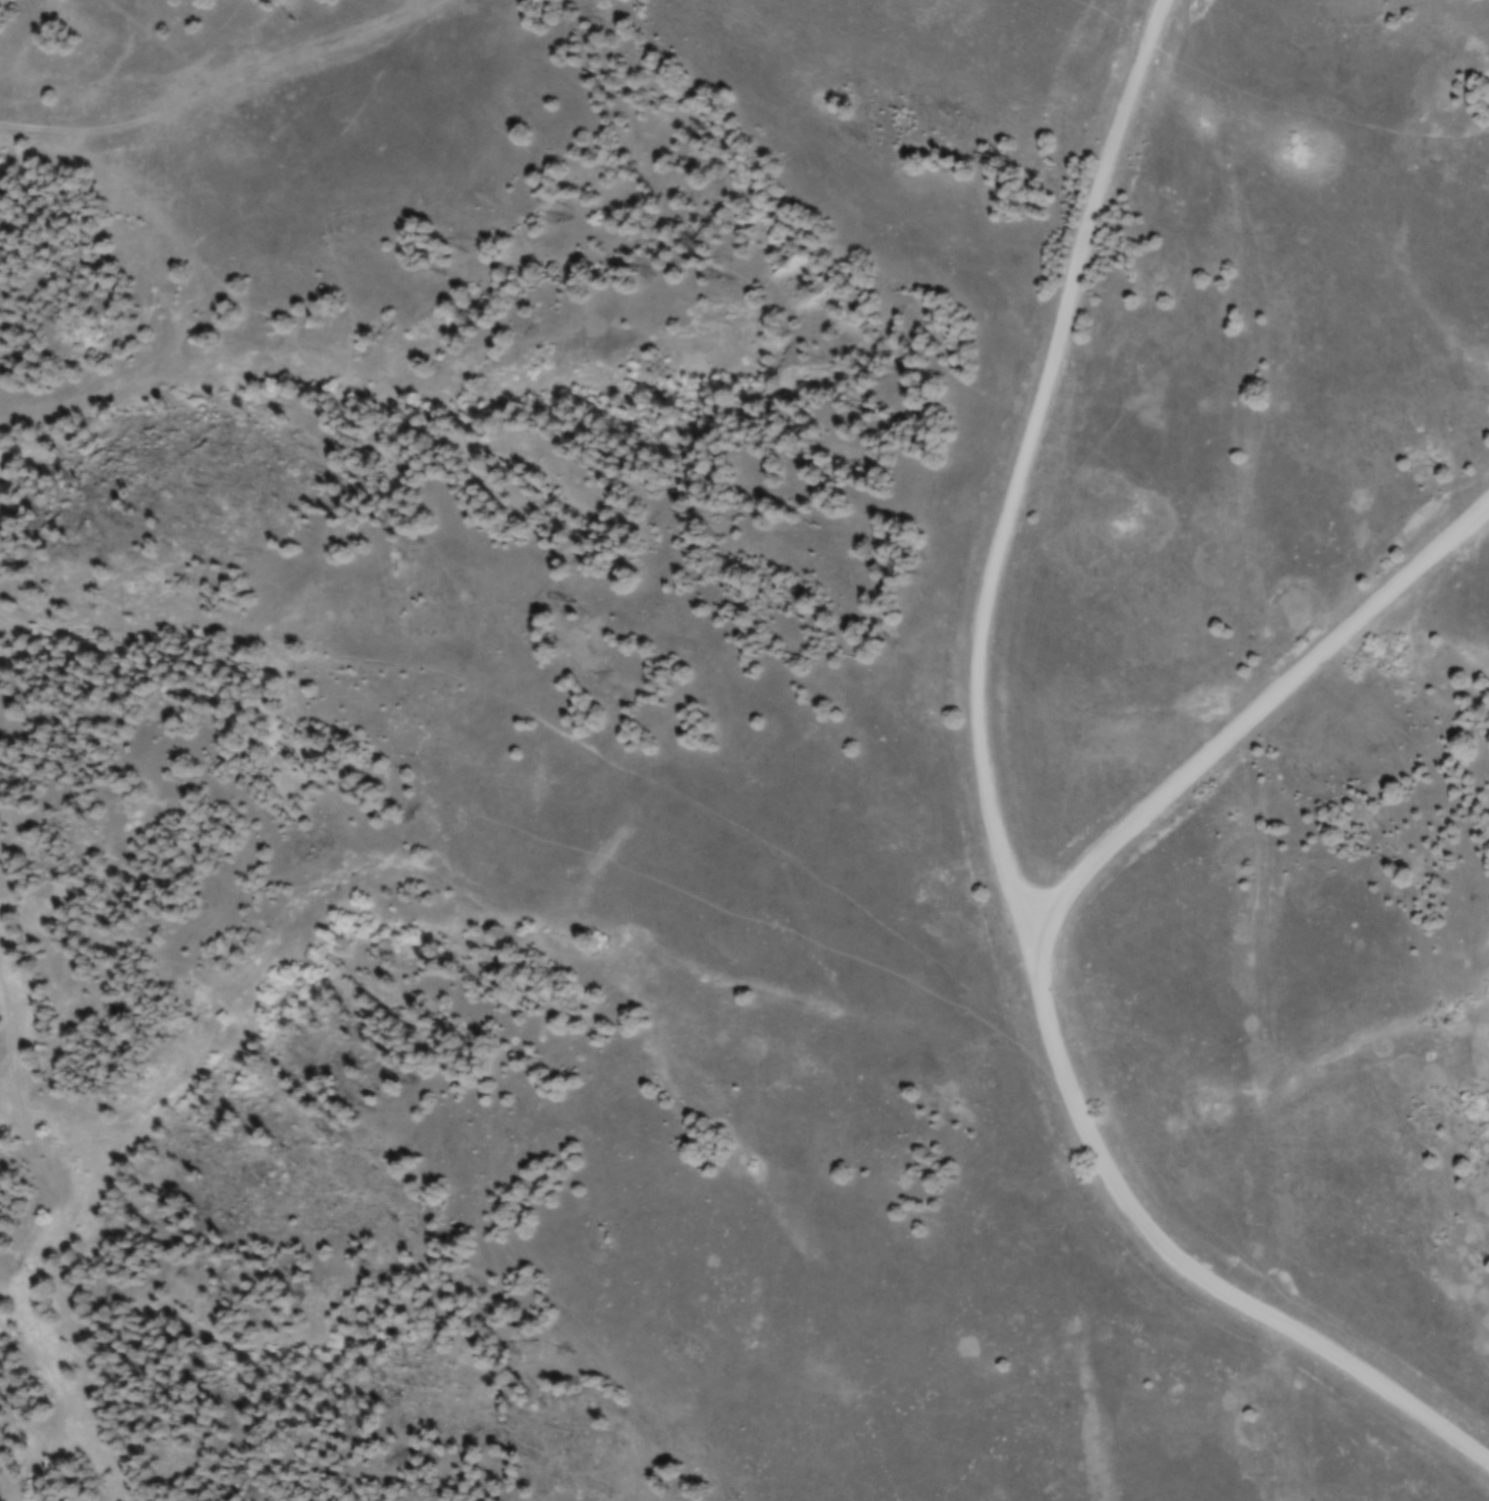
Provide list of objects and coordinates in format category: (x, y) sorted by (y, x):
road: (1026, 458)
road: (1257, 709)
road: (1176, 1257)

